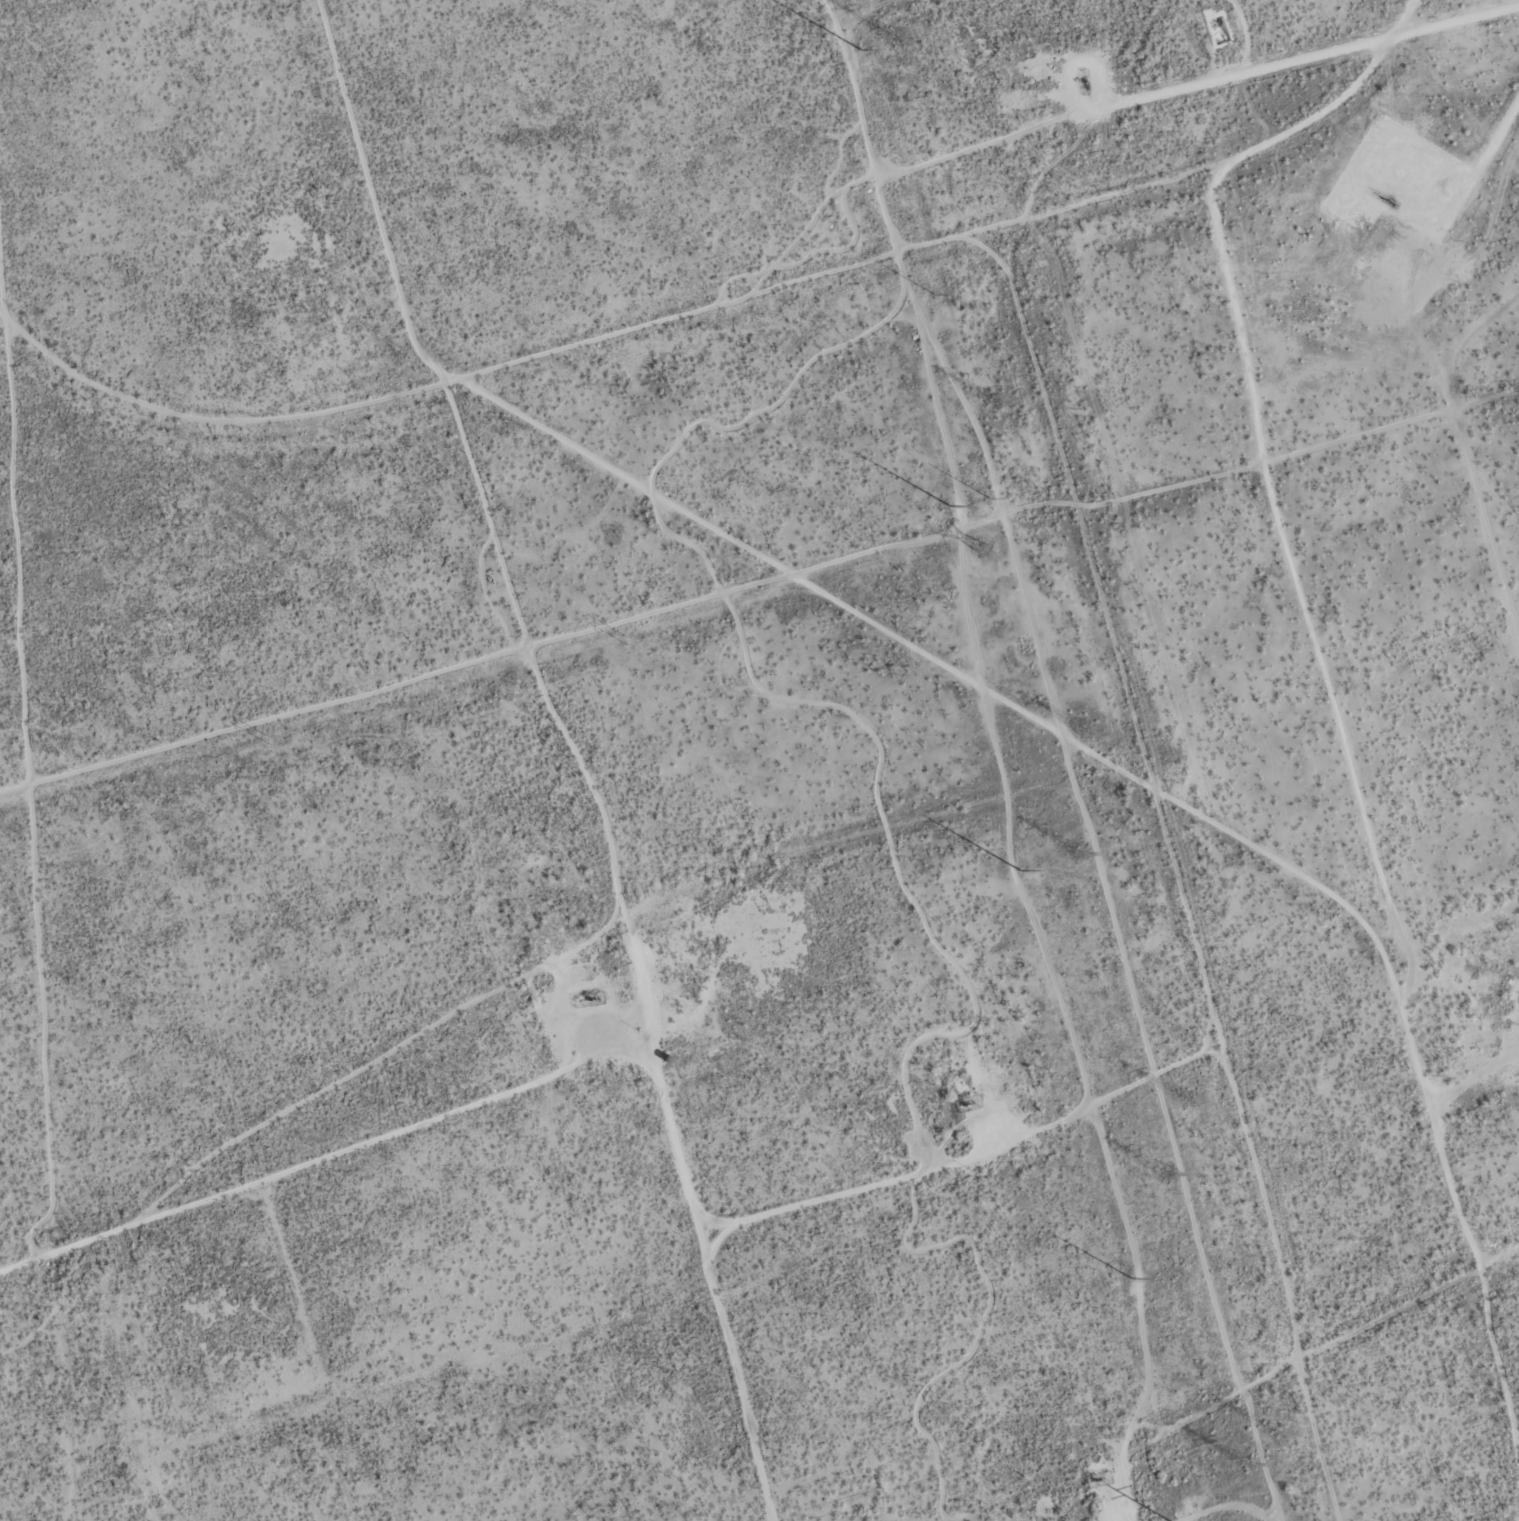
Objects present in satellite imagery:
power tower: (896, 40)
power tower: (858, 50)
power tower: (932, 295)
power tower: (996, 403)
power tower: (988, 502)
power tower: (946, 509)
power tower: (981, 549)
power tower: (895, 571)
power tower: (626, 641)
power tower: (1085, 733)
power tower: (266, 742)
power tower: (1080, 854)
power tower: (1018, 873)
power tower: (1182, 1102)
power tower: (1168, 1176)
power tower: (1129, 1280)
power tower: (1278, 1437)
power tower: (1248, 1468)

